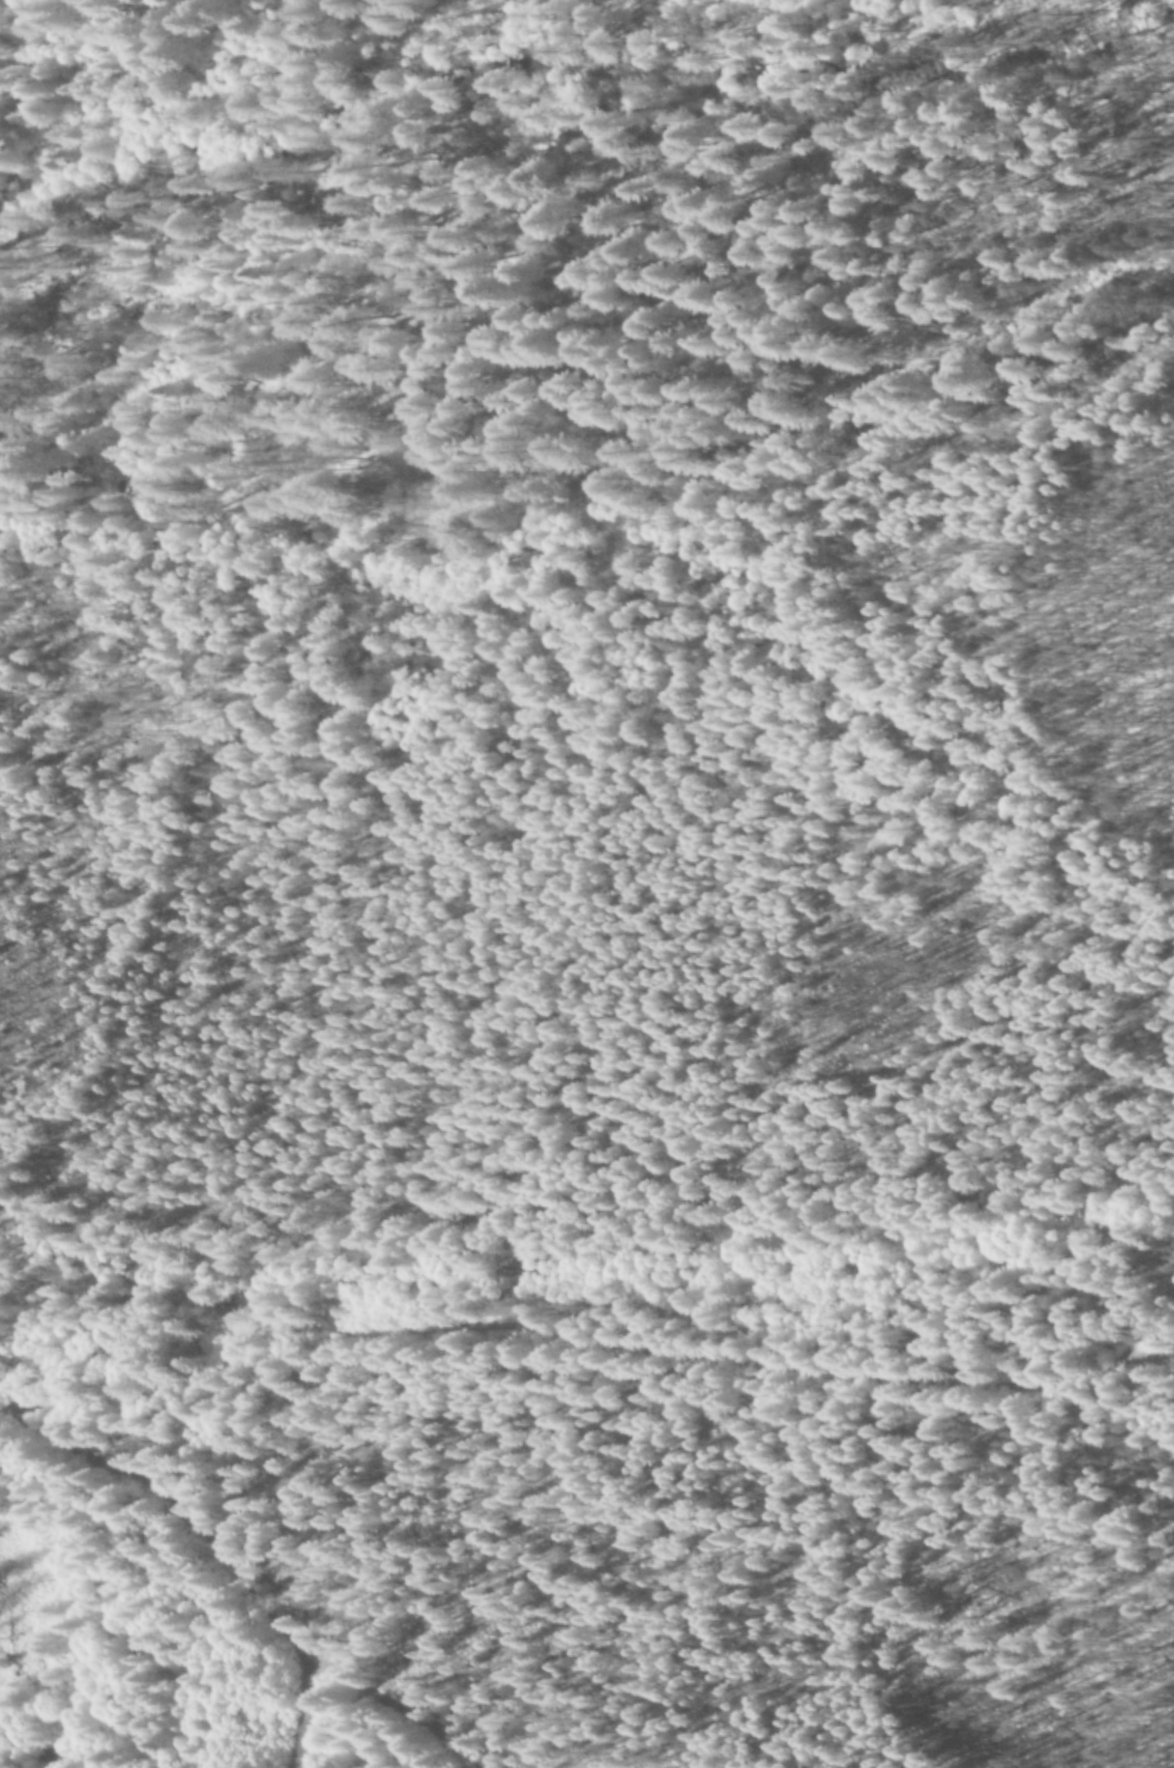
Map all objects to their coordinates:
road: (486, 1336)

